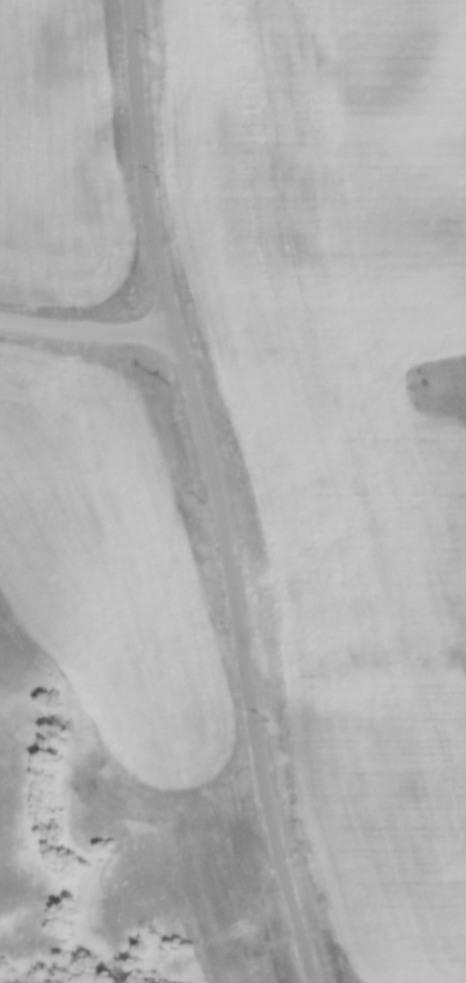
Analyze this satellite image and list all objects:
road: (90, 322)
road: (217, 489)

